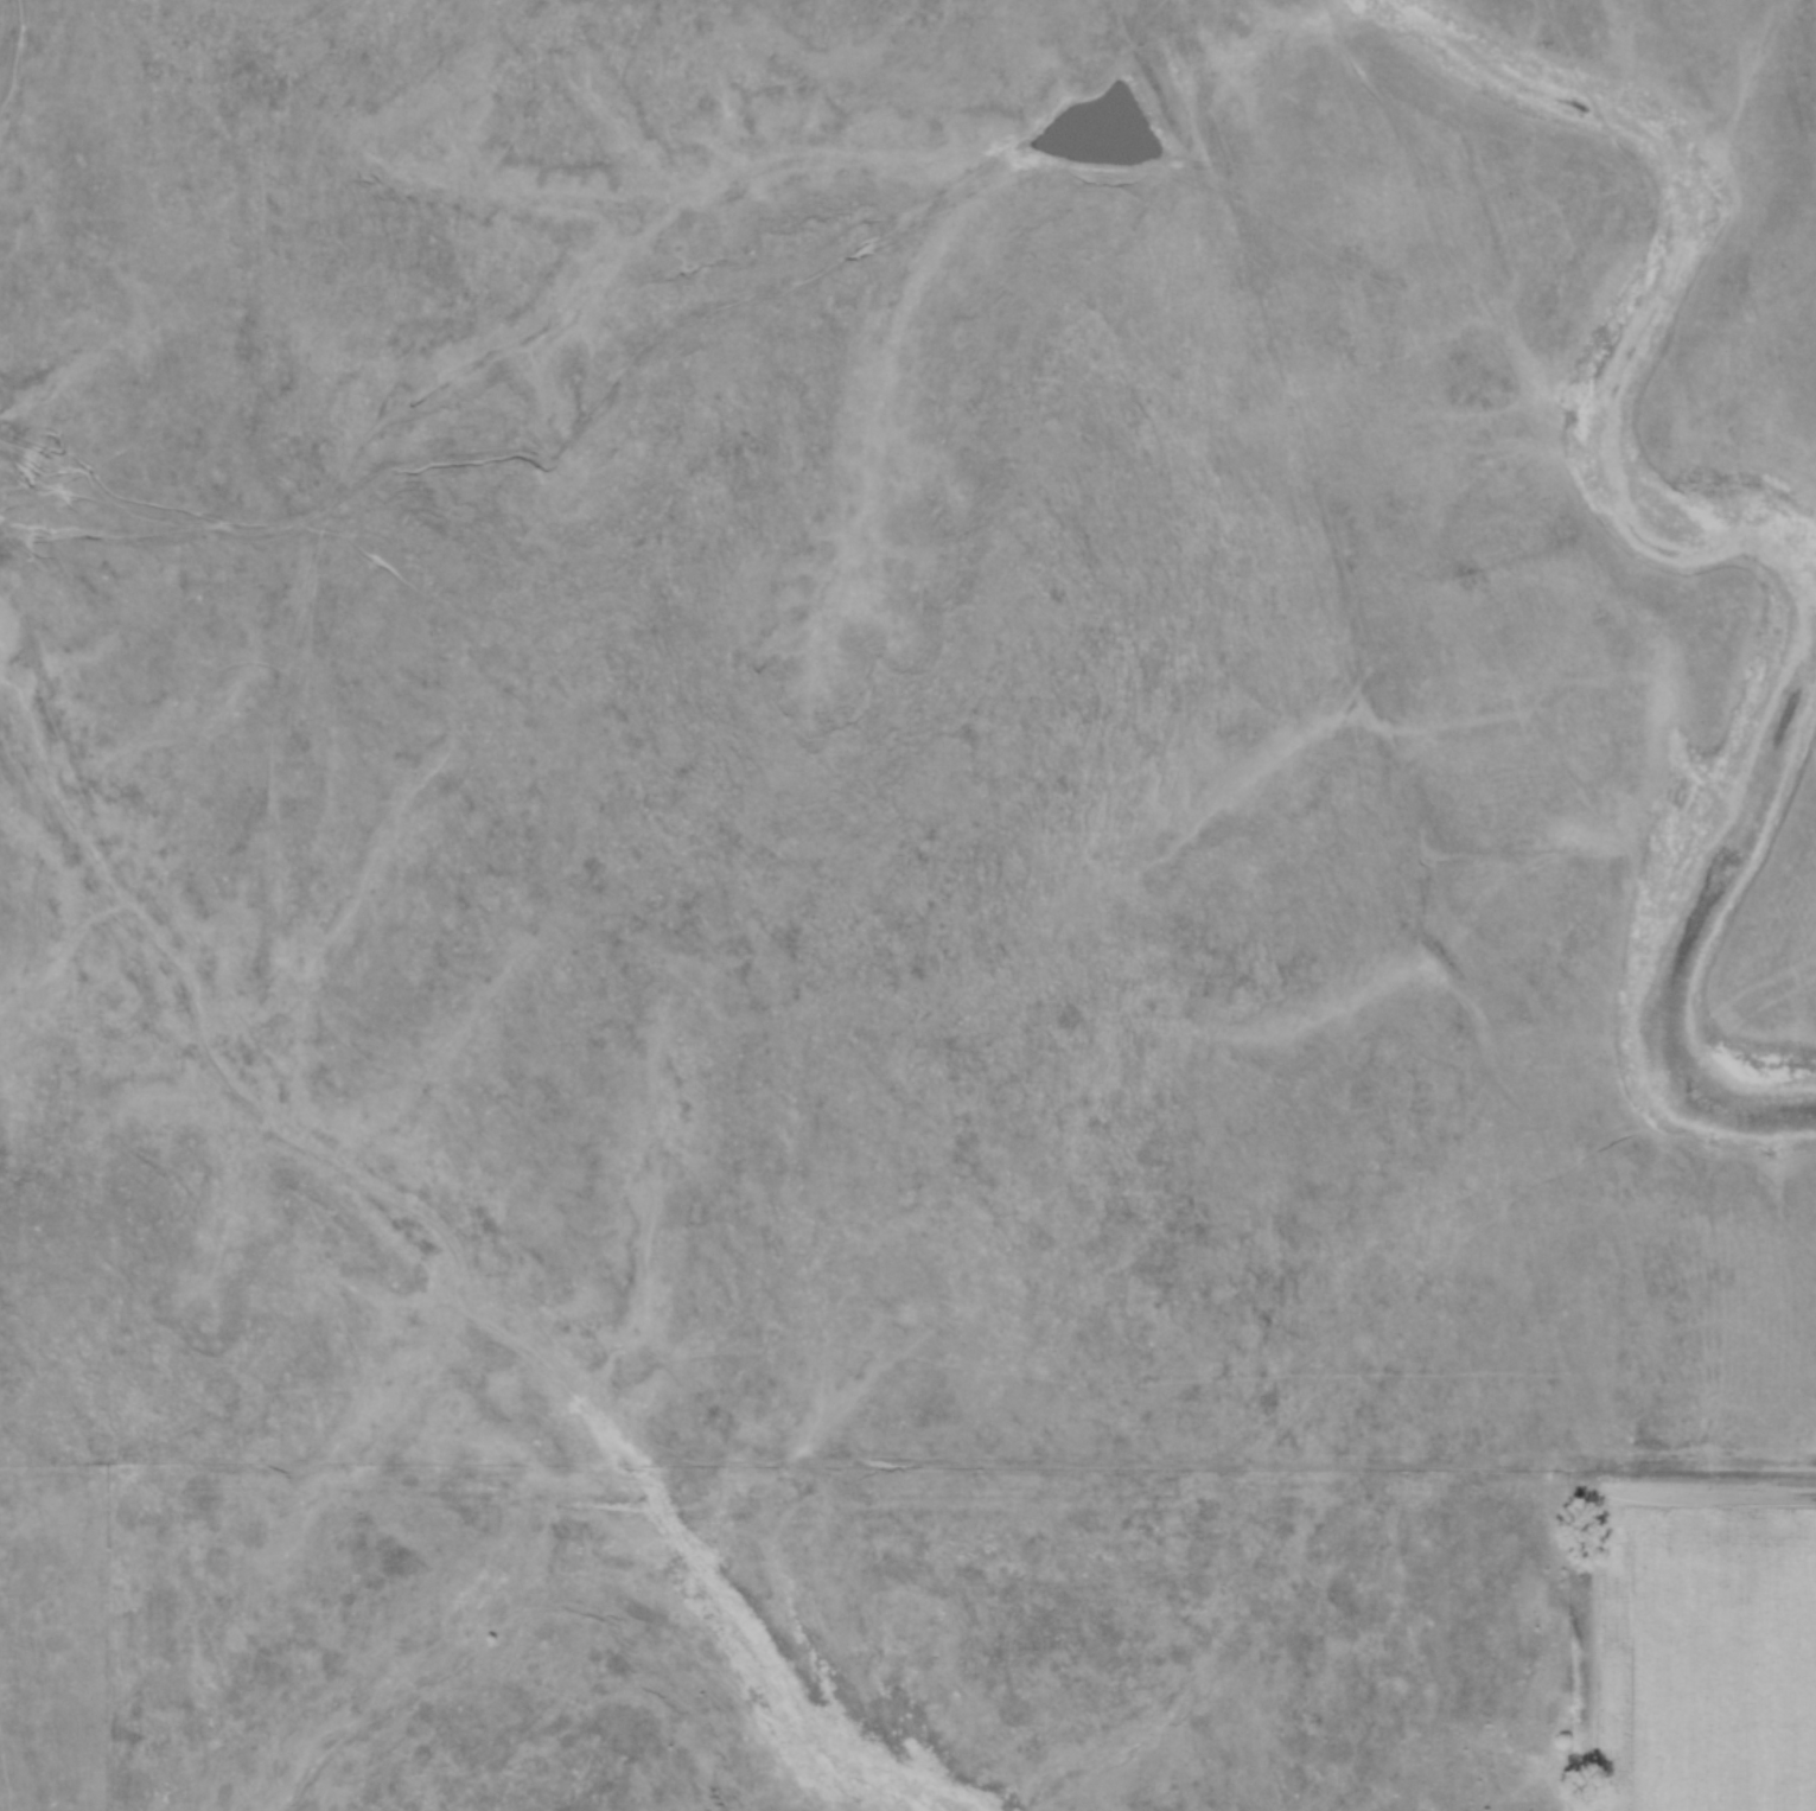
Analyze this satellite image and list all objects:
crop: (1706, 1650)

